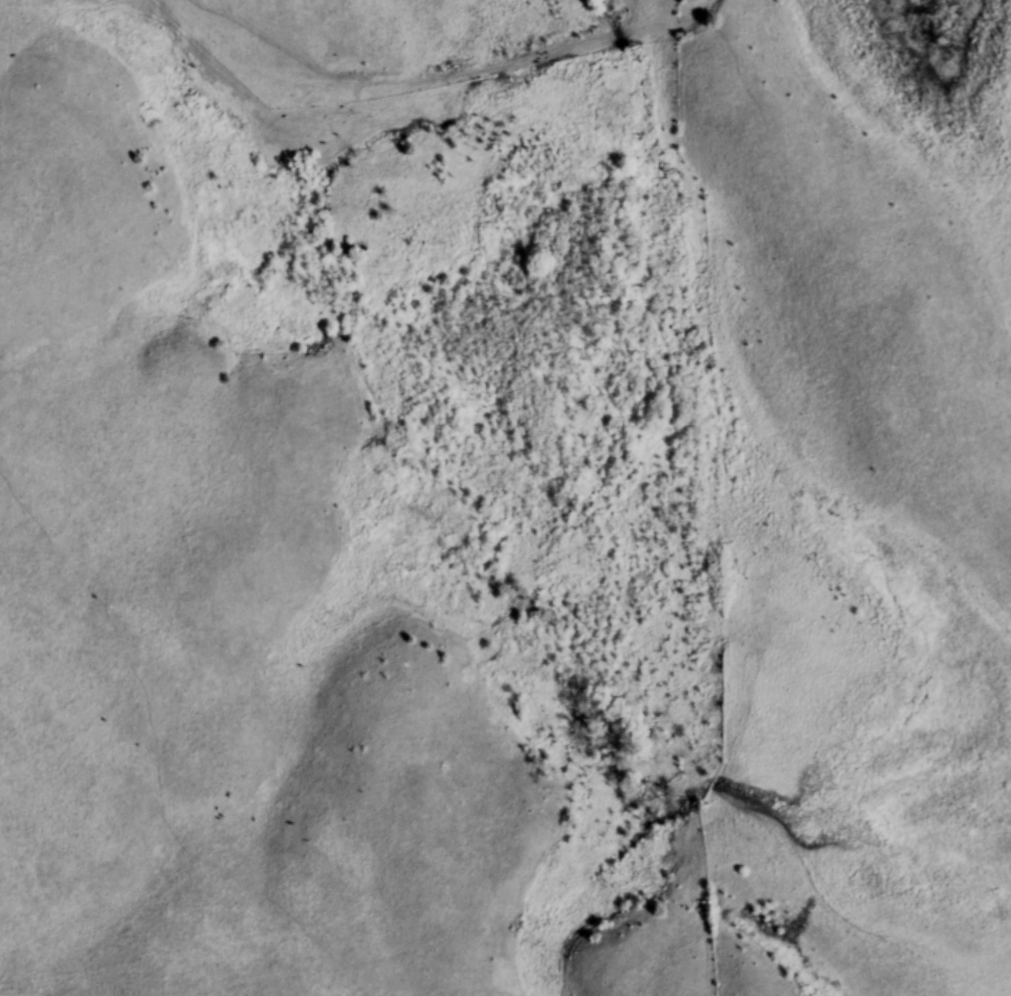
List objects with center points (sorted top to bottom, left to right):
road: (434, 70)

